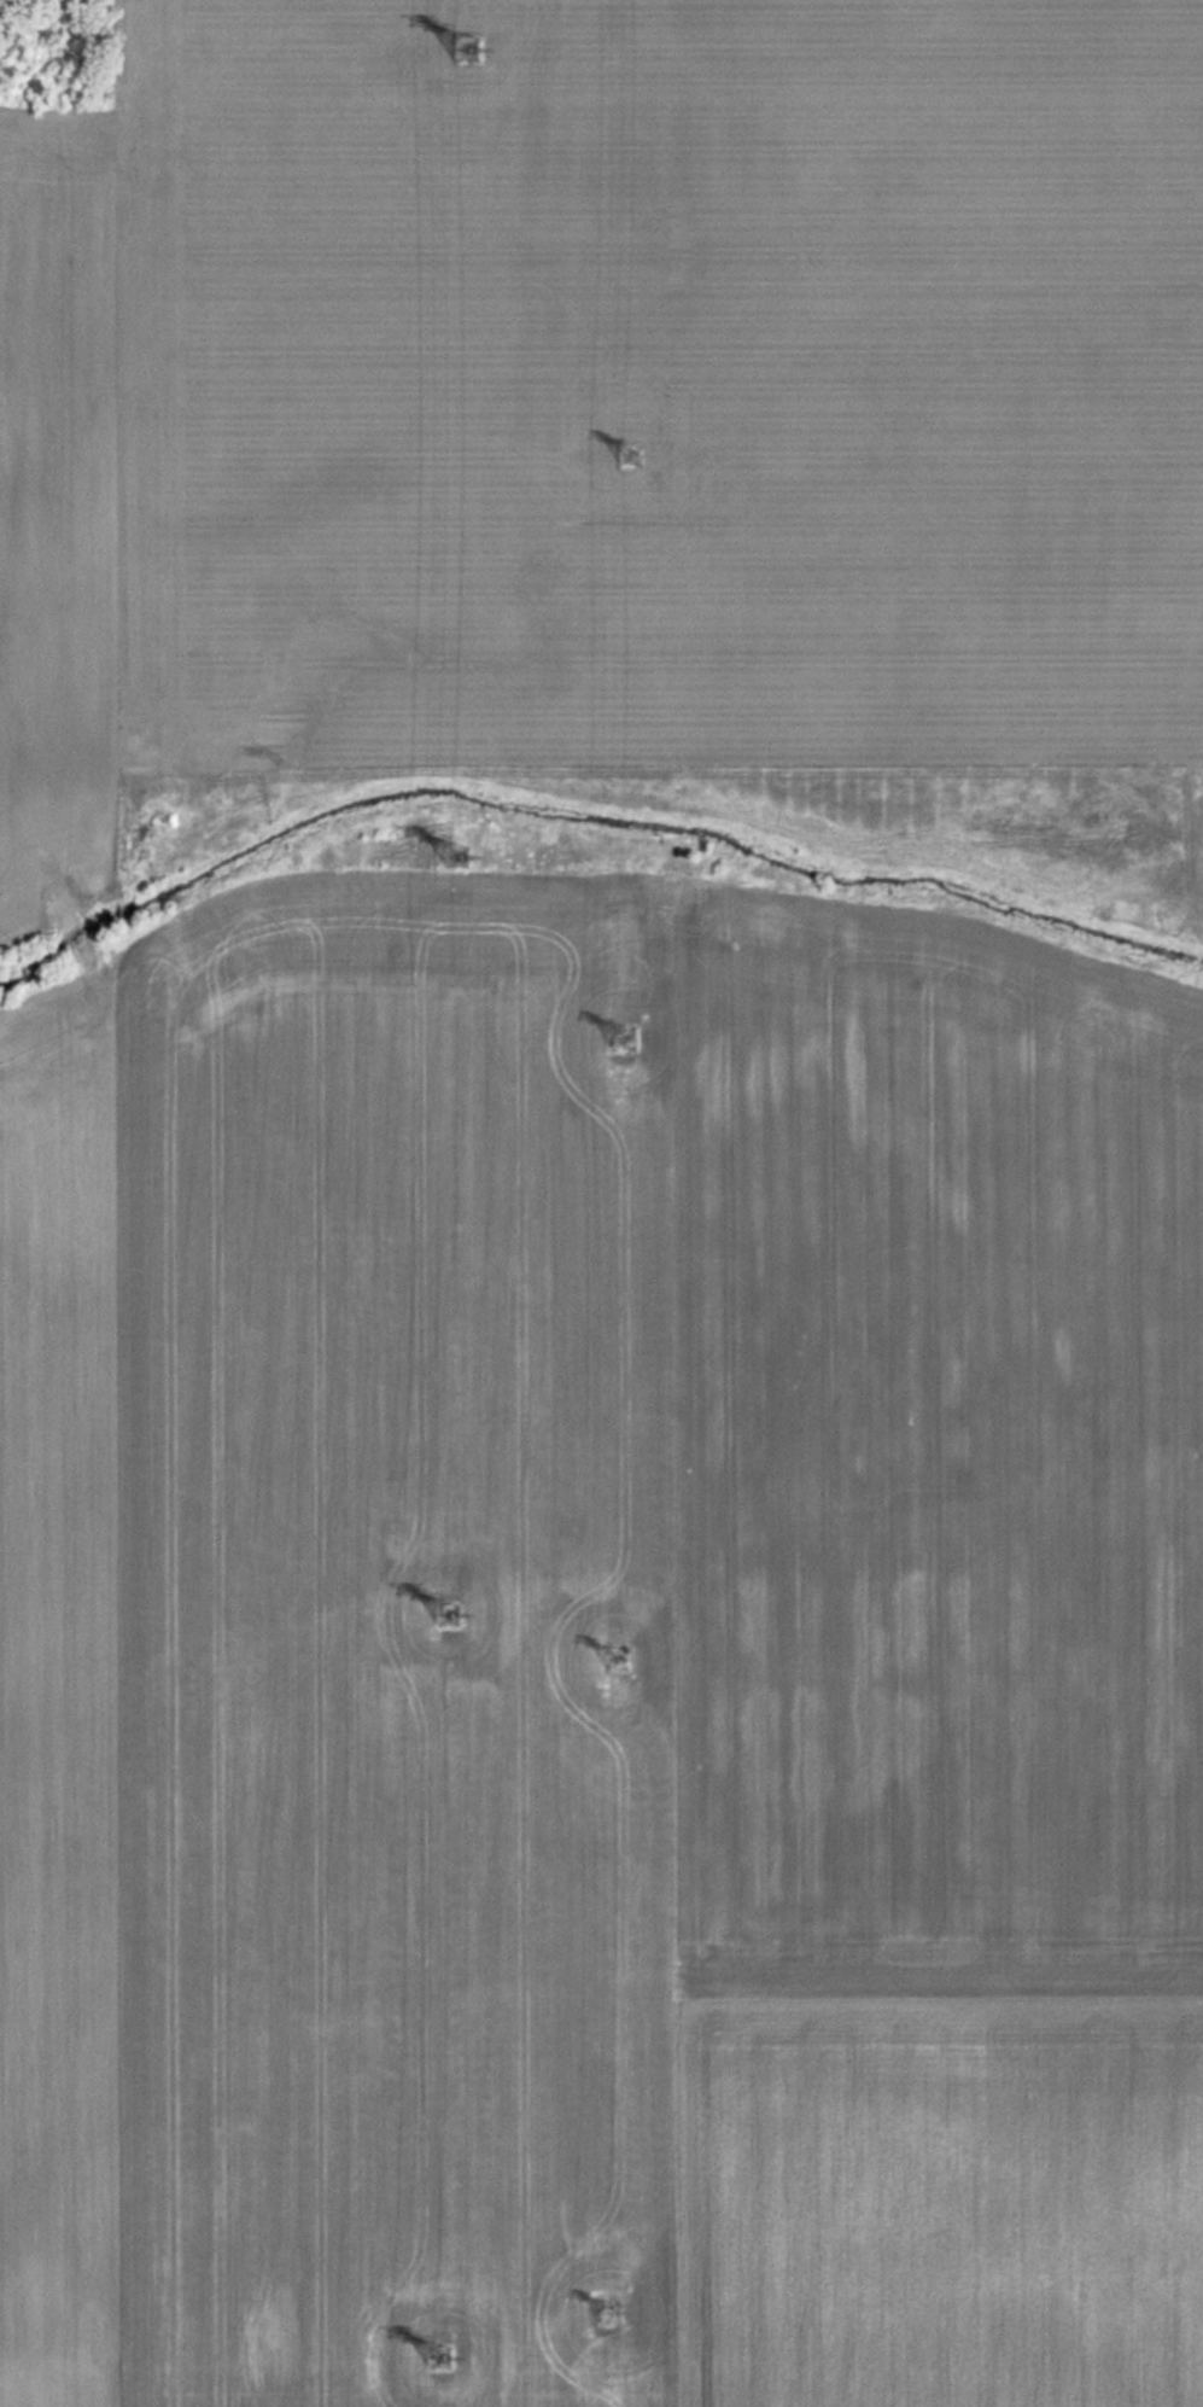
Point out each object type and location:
power tower: (460, 47)
power tower: (625, 454)
power tower: (450, 853)
power tower: (624, 1030)
power tower: (446, 1614)
power tower: (624, 1667)
power tower: (614, 2309)
power tower: (439, 2358)

